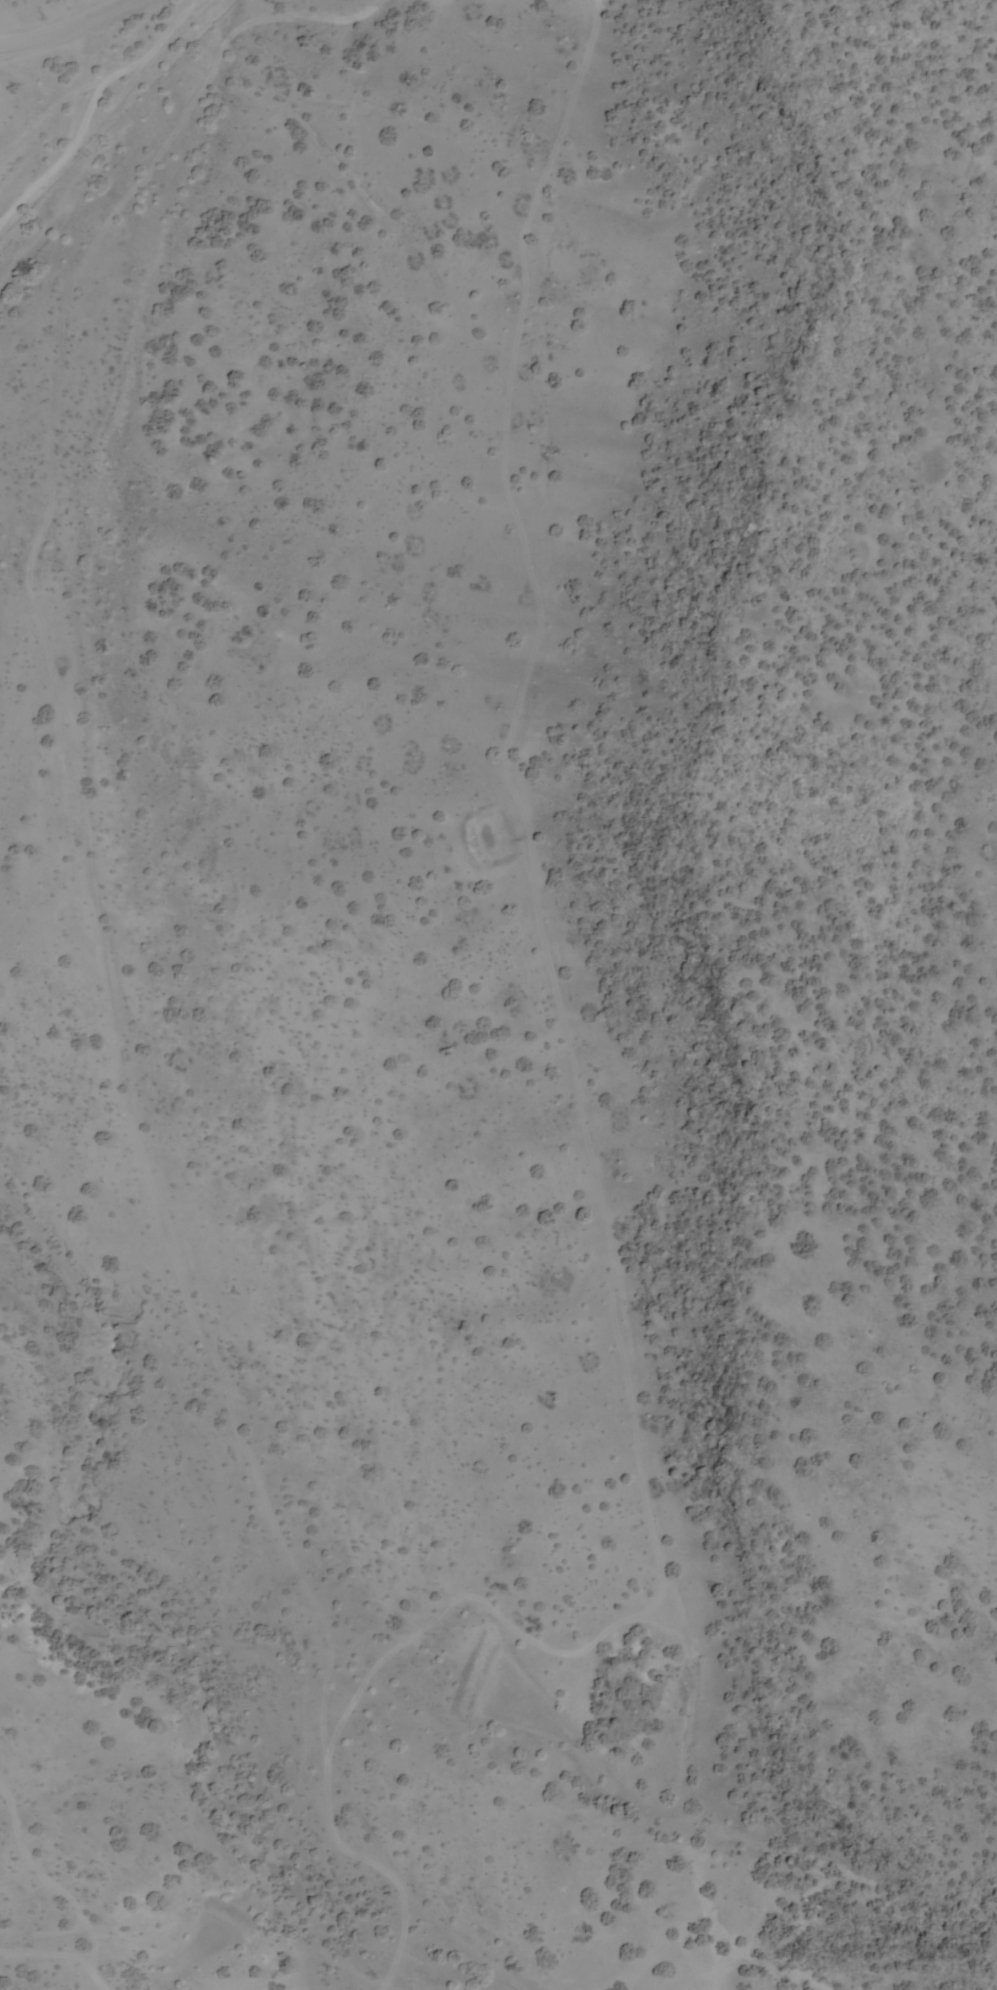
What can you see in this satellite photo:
road: (27, 21)
road: (108, 35)
road: (578, 996)

